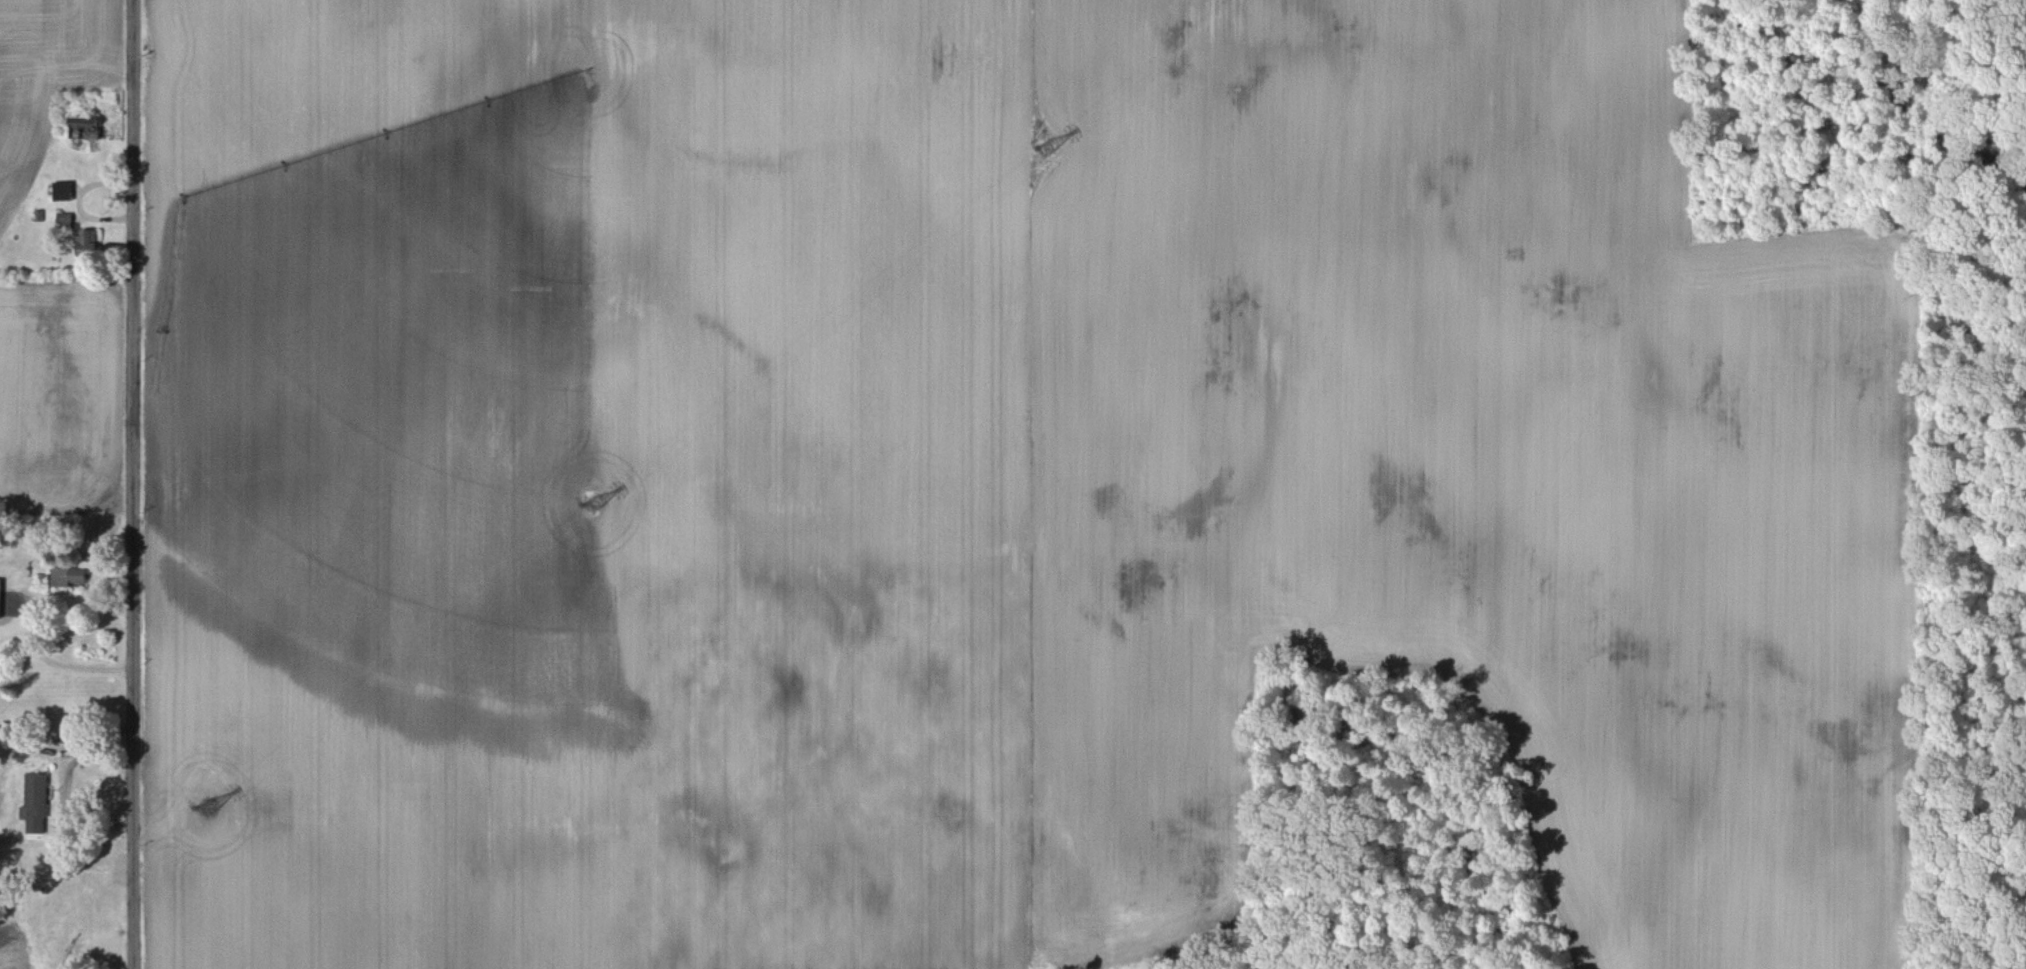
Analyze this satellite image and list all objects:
building: (84, 127)
building: (61, 190)
building: (87, 243)
crop: (986, 432)
road: (131, 484)
building: (3, 572)
building: (68, 576)
building: (35, 803)
crop: (12, 955)

